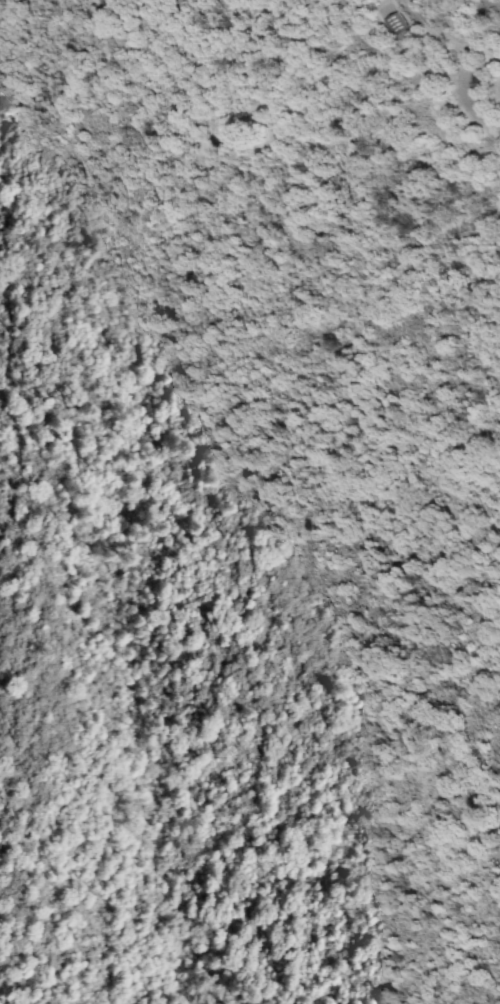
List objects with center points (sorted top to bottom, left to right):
building: (399, 27)

